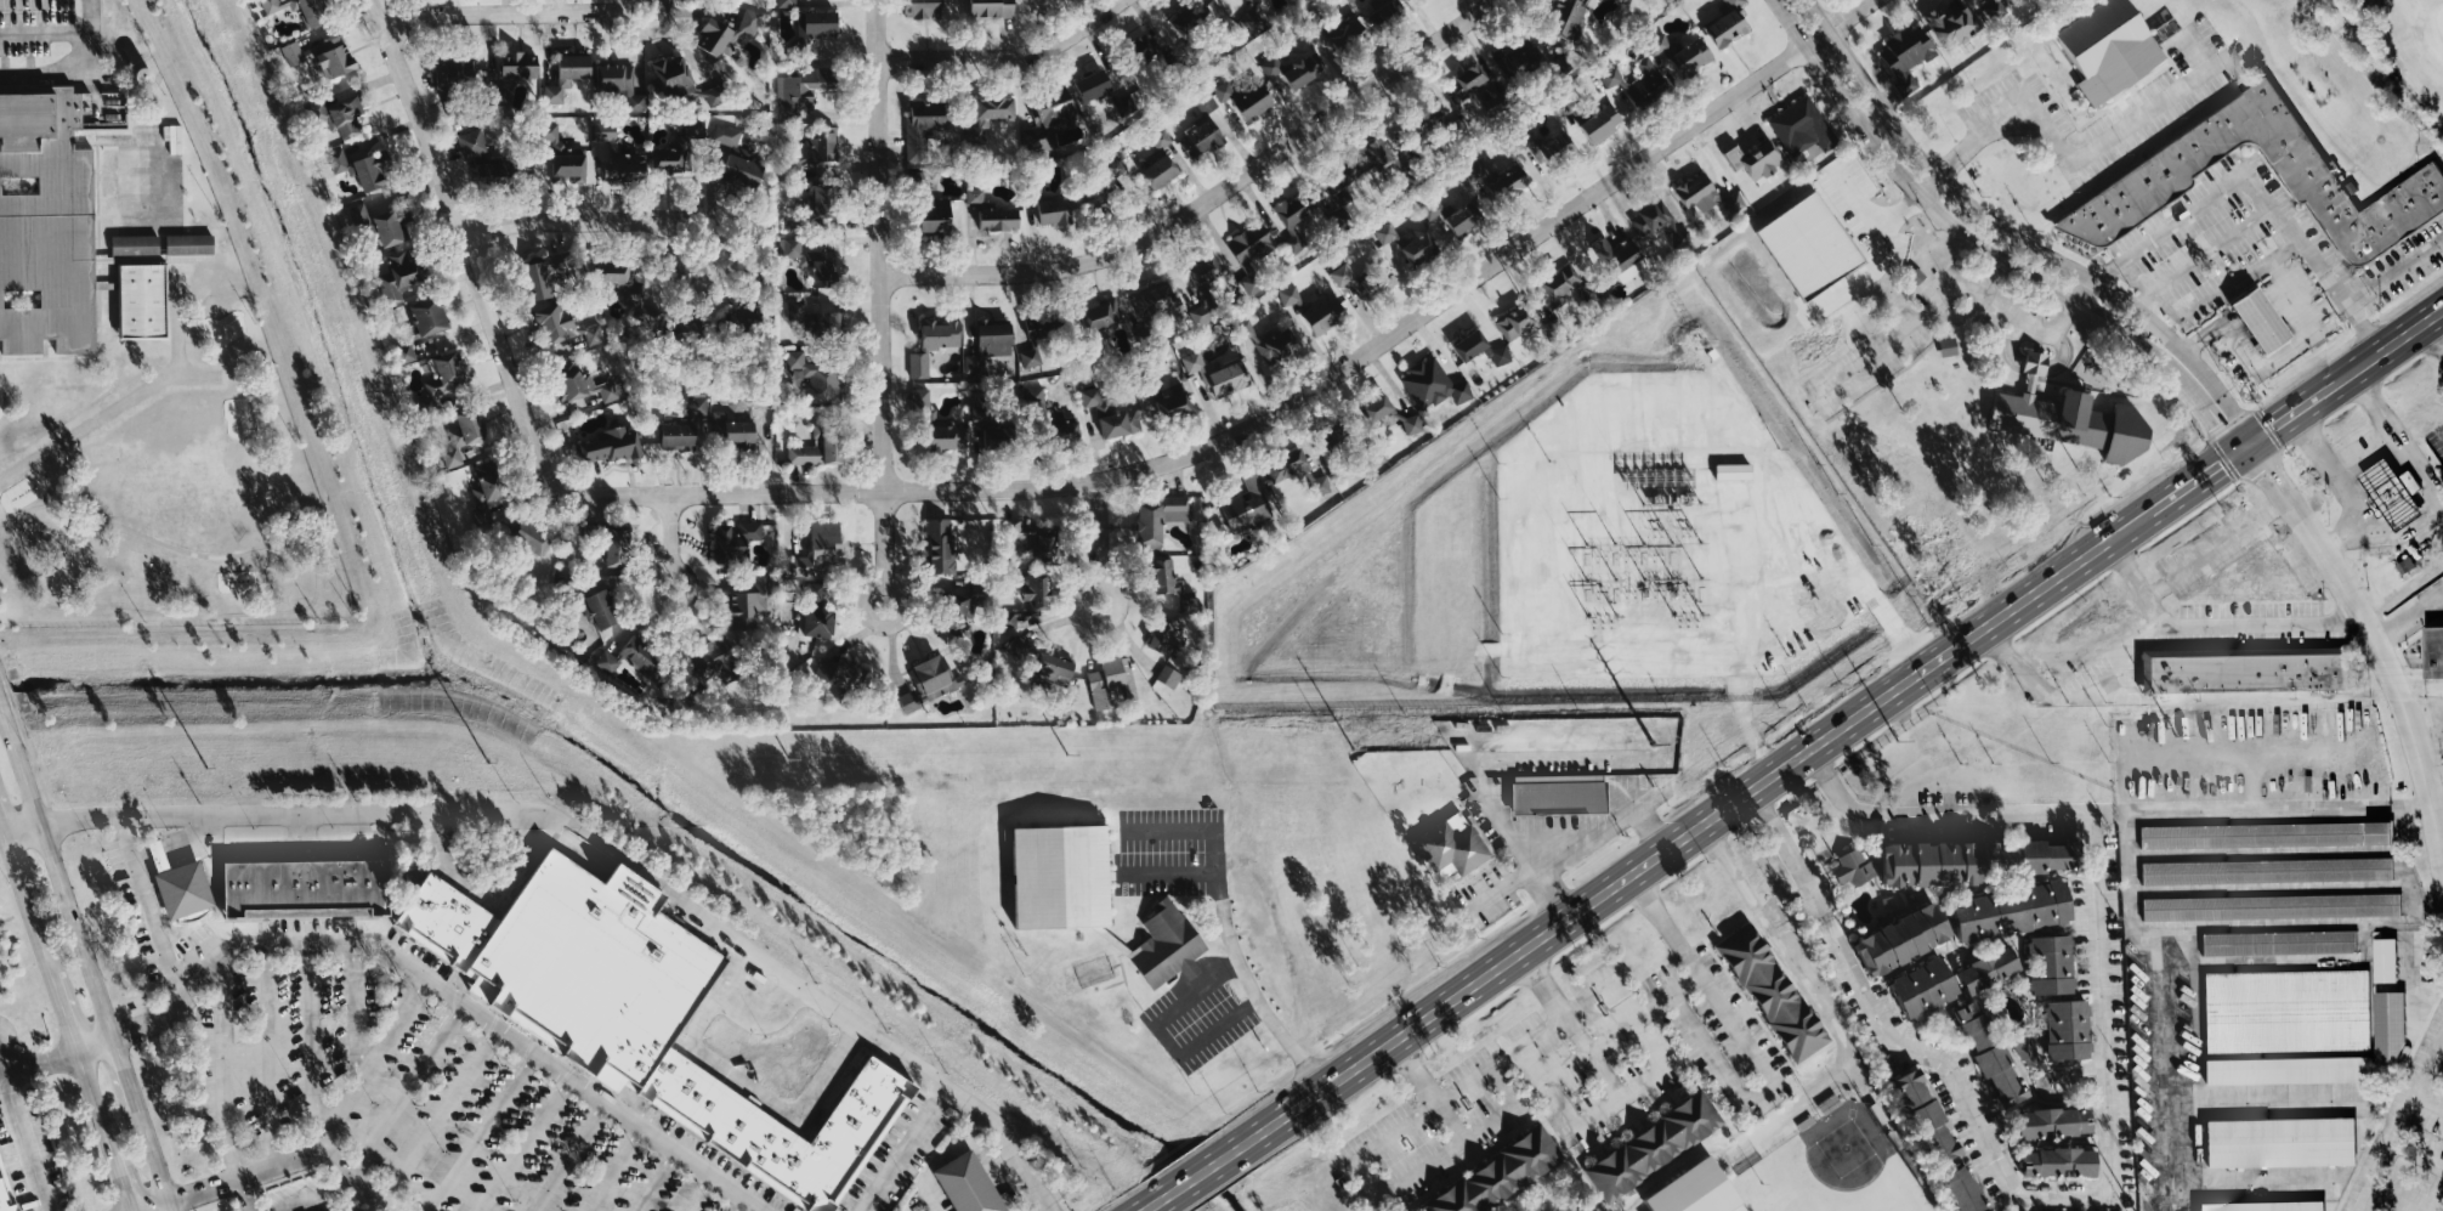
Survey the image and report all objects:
building: (1257, 0)
building: (1033, 1)
building: (786, 4)
building: (299, 10)
building: (920, 10)
building: (988, 10)
building: (1993, 10)
road: (514, 15)
building: (1254, 17)
building: (1561, 17)
building: (1383, 19)
building: (748, 22)
building: (1184, 22)
building: (815, 24)
building: (1725, 24)
building: (1957, 27)
road: (45, 33)
building: (713, 39)
building: (1348, 39)
building: (1661, 44)
building: (2107, 49)
building: (1137, 51)
building: (291, 55)
road: (1009, 55)
building: (1904, 55)
building: (1685, 58)
building: (331, 60)
building: (1508, 61)
building: (1293, 69)
building: (455, 70)
road: (83, 75)
building: (670, 75)
building: (565, 77)
building: (504, 84)
building: (1464, 84)
building: (619, 86)
building: (1090, 87)
building: (1645, 89)
building: (803, 90)
building: (1223, 92)
building: (715, 96)
building: (1205, 103)
building: (1252, 103)
building: (335, 117)
building: (987, 118)
building: (1047, 119)
building: (1419, 124)
building: (1600, 125)
building: (1801, 128)
building: (920, 135)
building: (1160, 140)
building: (1200, 141)
building: (1520, 141)
building: (471, 145)
road: (2064, 145)
building: (818, 146)
building: (676, 149)
building: (1554, 149)
building: (1378, 155)
building: (614, 157)
building: (1756, 160)
building: (736, 164)
building: (2171, 164)
building: (361, 168)
building: (568, 168)
building: (1113, 169)
building: (1157, 174)
building: (488, 176)
building: (1492, 180)
building: (1337, 182)
building: (1696, 193)
building: (124, 196)
building: (973, 197)
road: (1209, 200)
building: (1719, 200)
building: (821, 202)
building: (1101, 203)
building: (1731, 203)
road: (2278, 209)
building: (925, 211)
building: (1289, 211)
building: (1052, 214)
building: (1452, 216)
building: (996, 219)
road: (586, 221)
building: (794, 222)
building: (381, 223)
building: (1656, 223)
building: (45, 225)
building: (1385, 234)
road: (2014, 238)
building: (1249, 244)
building: (1293, 244)
road: (1984, 248)
building: (1417, 249)
building: (1820, 254)
building: (1623, 260)
road: (472, 261)
building: (811, 262)
building: (1202, 270)
building: (399, 276)
building: (539, 276)
building: (1345, 276)
building: (1918, 276)
building: (1374, 282)
building: (1252, 284)
building: (622, 285)
building: (1565, 285)
road: (2290, 285)
road: (2220, 293)
building: (1291, 295)
building: (140, 301)
building: (1151, 301)
road: (882, 304)
road: (2002, 306)
building: (746, 309)
building: (1322, 316)
building: (426, 317)
building: (1519, 318)
building: (2257, 318)
building: (814, 319)
road: (2062, 323)
building: (1098, 324)
road: (2364, 327)
building: (565, 328)
building: (1042, 328)
road: (2037, 328)
building: (682, 334)
road: (2432, 335)
road: (1901, 336)
building: (1268, 343)
building: (933, 344)
building: (986, 344)
building: (1469, 345)
building: (1951, 347)
building: (404, 353)
road: (2272, 358)
road: (2034, 362)
building: (1215, 374)
building: (815, 379)
building: (441, 383)
building: (580, 385)
building: (1433, 385)
building: (919, 400)
building: (1033, 400)
building: (701, 403)
building: (1161, 404)
road: (1287, 404)
building: (1374, 408)
building: (981, 409)
building: (1110, 417)
building: (933, 418)
building: (1415, 424)
building: (2076, 424)
building: (1062, 434)
building: (735, 435)
road: (2394, 435)
building: (461, 436)
building: (675, 436)
building: (945, 438)
building: (998, 440)
building: (1332, 442)
traffic signals: (2249, 442)
building: (610, 445)
building: (818, 449)
building: (1289, 465)
building: (486, 487)
road: (2343, 487)
building: (2392, 494)
building: (1248, 505)
building: (1156, 520)
building: (527, 537)
road: (671, 542)
building: (732, 542)
road: (1100, 544)
building: (613, 547)
building: (937, 547)
building: (1044, 549)
building: (820, 550)
road: (2223, 551)
road: (2144, 582)
building: (1169, 584)
building: (2257, 587)
building: (1036, 595)
building: (814, 598)
building: (747, 605)
building: (600, 609)
building: (960, 613)
road: (2414, 622)
building: (815, 623)
building: (1166, 636)
road: (2382, 639)
road: (2156, 640)
building: (2433, 650)
building: (645, 656)
building: (620, 661)
building: (710, 661)
building: (1049, 670)
building: (2244, 670)
building: (837, 673)
building: (1172, 677)
building: (931, 680)
building: (1110, 681)
road: (2422, 694)
building: (907, 703)
road: (4, 724)
road: (1842, 726)
road: (2435, 779)
building: (1557, 796)
road: (2105, 811)
road: (398, 813)
road: (2, 817)
road: (2, 825)
road: (22, 825)
road: (301, 830)
road: (1509, 830)
building: (2265, 836)
road: (1586, 841)
road: (182, 847)
road: (306, 847)
building: (1450, 849)
building: (157, 858)
building: (2031, 858)
building: (1928, 865)
building: (1854, 868)
building: (2266, 872)
building: (1058, 878)
road: (1172, 878)
road: (1262, 881)
road: (61, 887)
road: (1503, 887)
road: (24, 888)
building: (305, 889)
building: (182, 890)
road: (151, 907)
building: (2271, 907)
building: (2011, 911)
building: (446, 922)
building: (1900, 940)
building: (2277, 944)
building: (1166, 947)
building: (2385, 961)
building: (2048, 966)
building: (593, 968)
building: (1986, 971)
road: (1544, 984)
parking lot: (0, 989)
road: (1249, 989)
building: (1922, 989)
road: (444, 991)
building: (1769, 994)
road: (817, 996)
road: (1656, 1001)
road: (1823, 1003)
road: (61, 1005)
road: (358, 1011)
building: (2286, 1012)
building: (2390, 1029)
building: (2067, 1031)
road: (1168, 1043)
road: (1753, 1043)
road: (13, 1047)
road: (312, 1047)
road: (96, 1048)
building: (2025, 1051)
road: (268, 1054)
building: (1988, 1054)
road: (38, 1063)
road: (225, 1064)
road: (369, 1064)
building: (2286, 1070)
road: (1418, 1073)
road: (741, 1085)
road: (90, 1087)
road: (407, 1088)
parking lot: (410, 1091)
road: (2425, 1094)
road: (1622, 1097)
road: (441, 1116)
building: (1926, 1116)
road: (2403, 1119)
building: (2053, 1124)
road: (140, 1125)
building: (777, 1126)
road: (480, 1132)
road: (22, 1134)
building: (2280, 1143)
road: (525, 1144)
road: (901, 1148)
building: (1651, 1148)
parking lot: (30, 1150)
road: (2391, 1150)
road: (567, 1156)
road: (287, 1160)
road: (118, 1164)
building: (2058, 1164)
road: (611, 1168)
park: (1832, 1171)
building: (1500, 1175)
road: (1367, 1178)
road: (1196, 1179)
road: (653, 1181)
building: (965, 1184)
road: (2014, 1188)
building: (1699, 1192)
road: (2403, 1192)
road: (697, 1193)
road: (246, 1194)
road: (308, 1194)
building: (5, 1195)
parking lot: (296, 1195)
road: (2435, 1198)
road: (742, 1205)
road: (155, 1206)
building: (2268, 1206)
road: (352, 1209)

